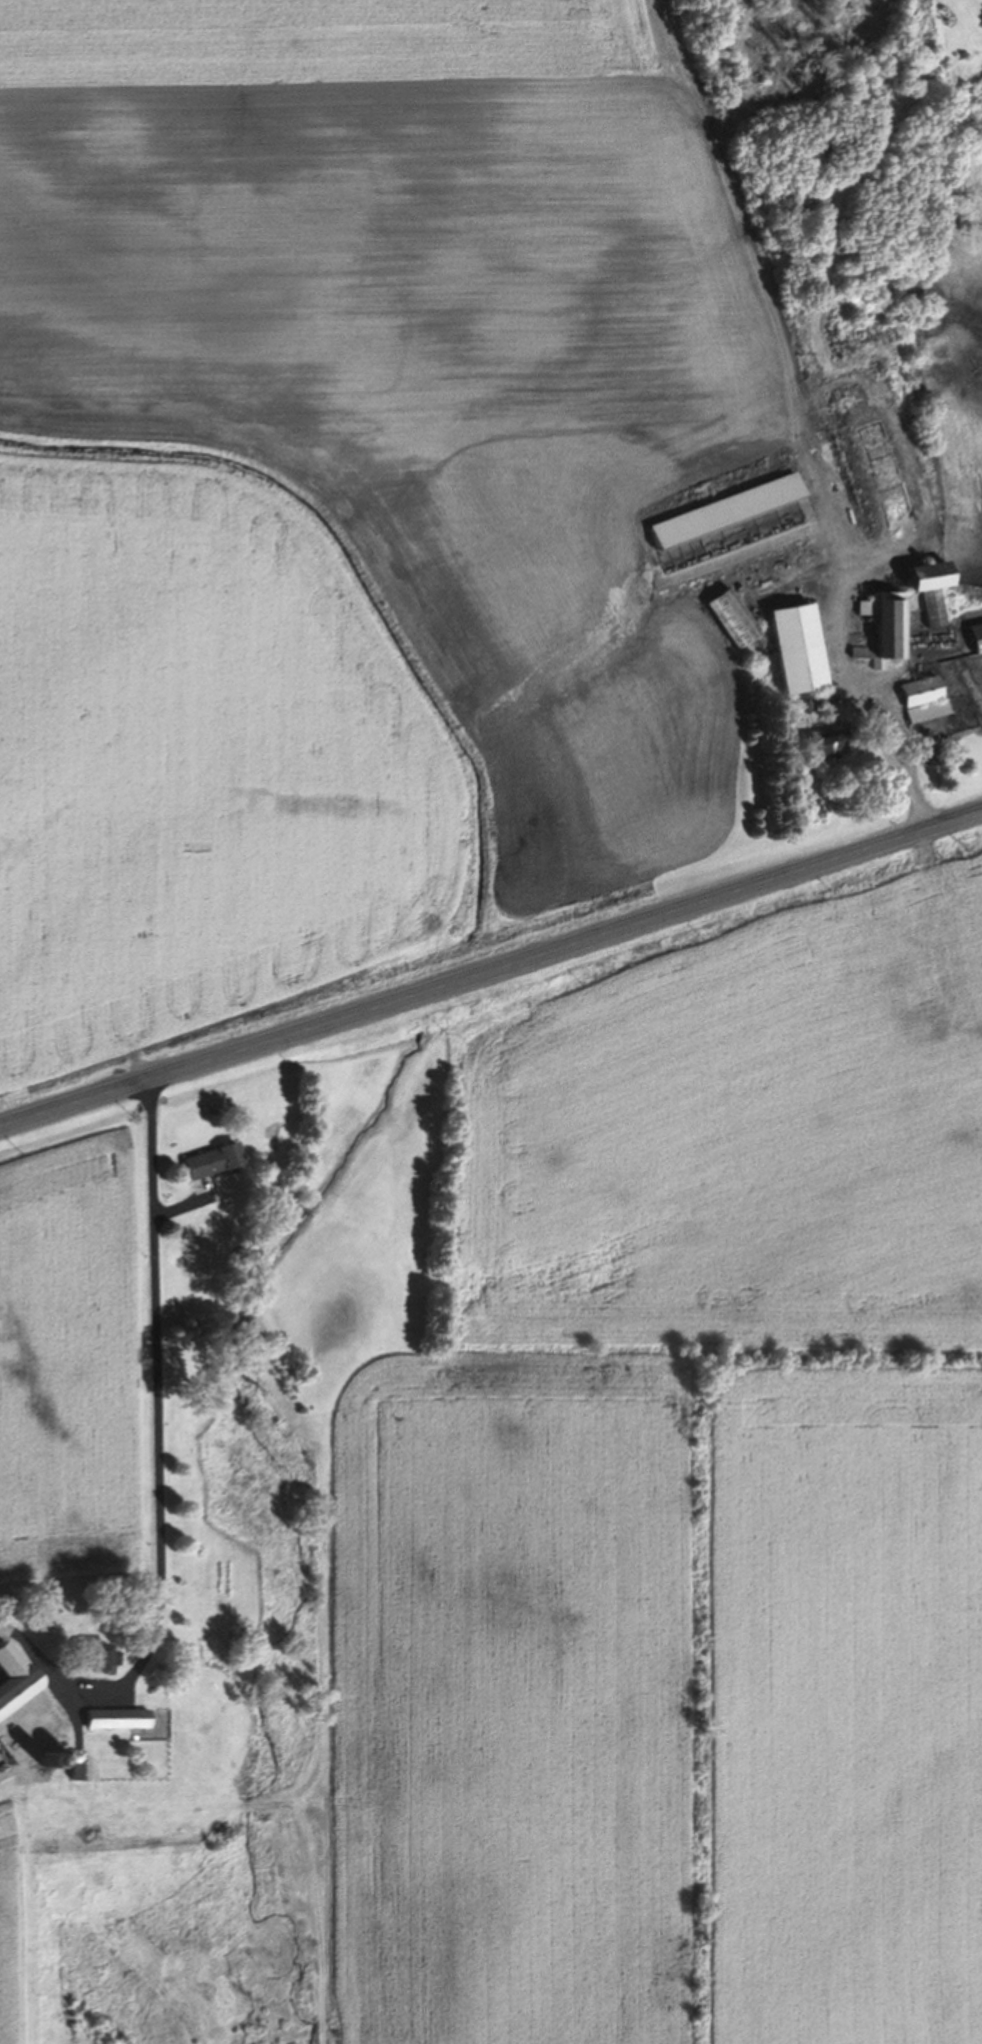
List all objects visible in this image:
building: (721, 514)
building: (922, 580)
building: (729, 622)
building: (880, 632)
building: (976, 641)
building: (793, 652)
building: (923, 703)
building: (824, 748)
road: (899, 769)
road: (491, 971)
building: (208, 1165)
road: (150, 1401)
building: (94, 1662)
building: (115, 1723)
building: (53, 1762)
building: (79, 1772)

